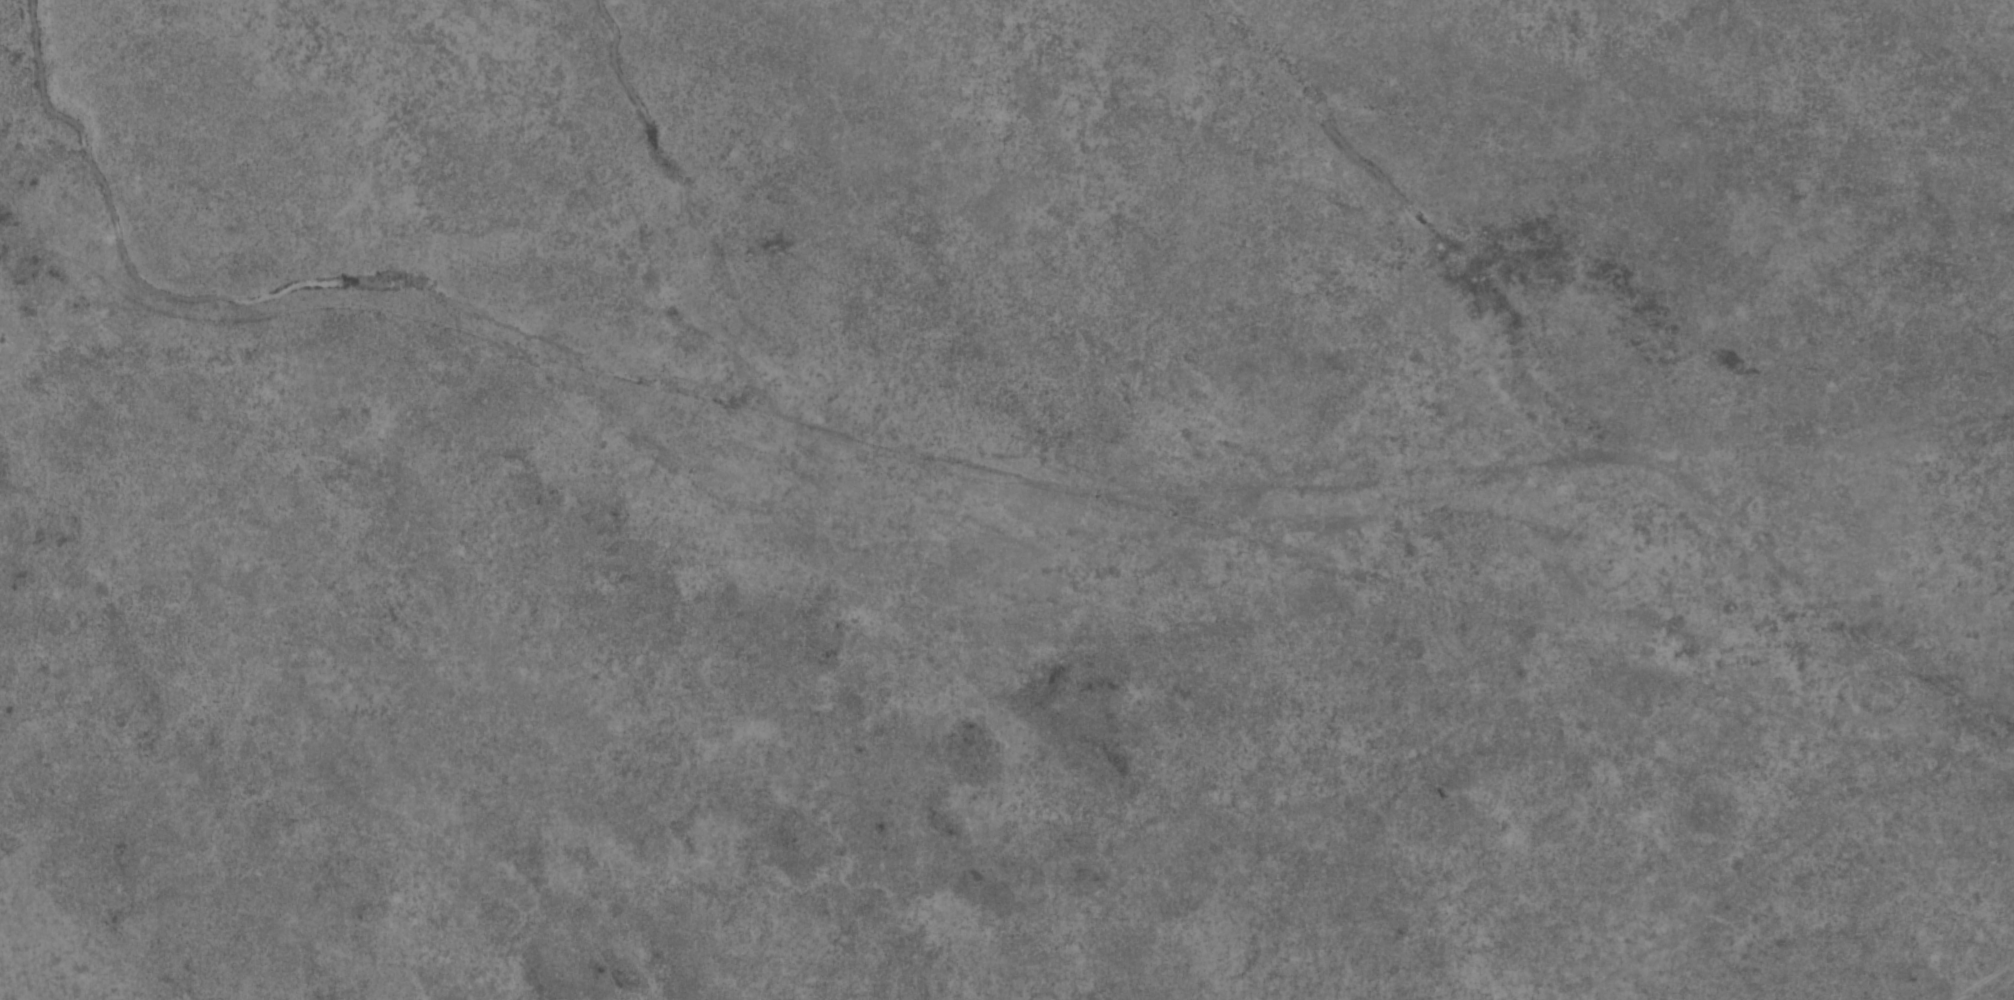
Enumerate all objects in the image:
road: (1986, 980)

